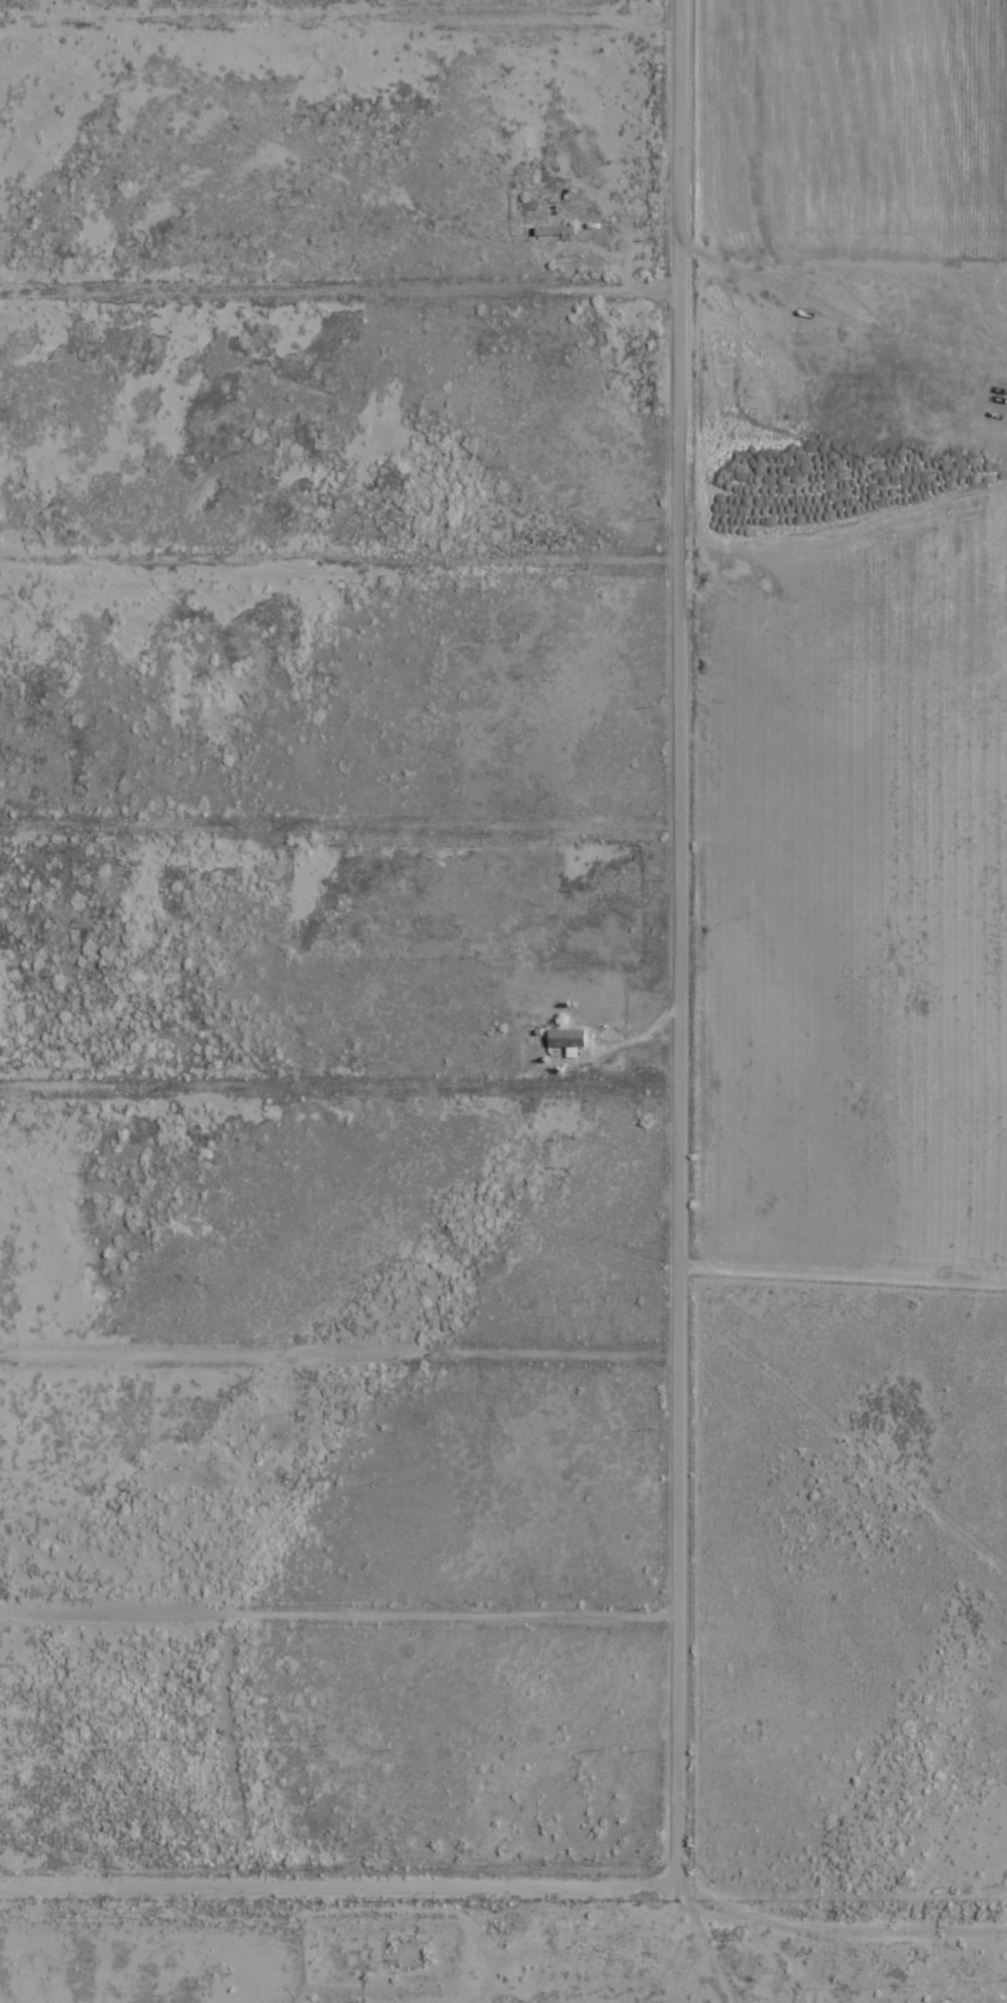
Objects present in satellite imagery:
road: (330, 8)
road: (330, 294)
road: (328, 568)
road: (323, 806)
road: (653, 947)
road: (330, 1077)
road: (328, 1319)
road: (325, 1582)

